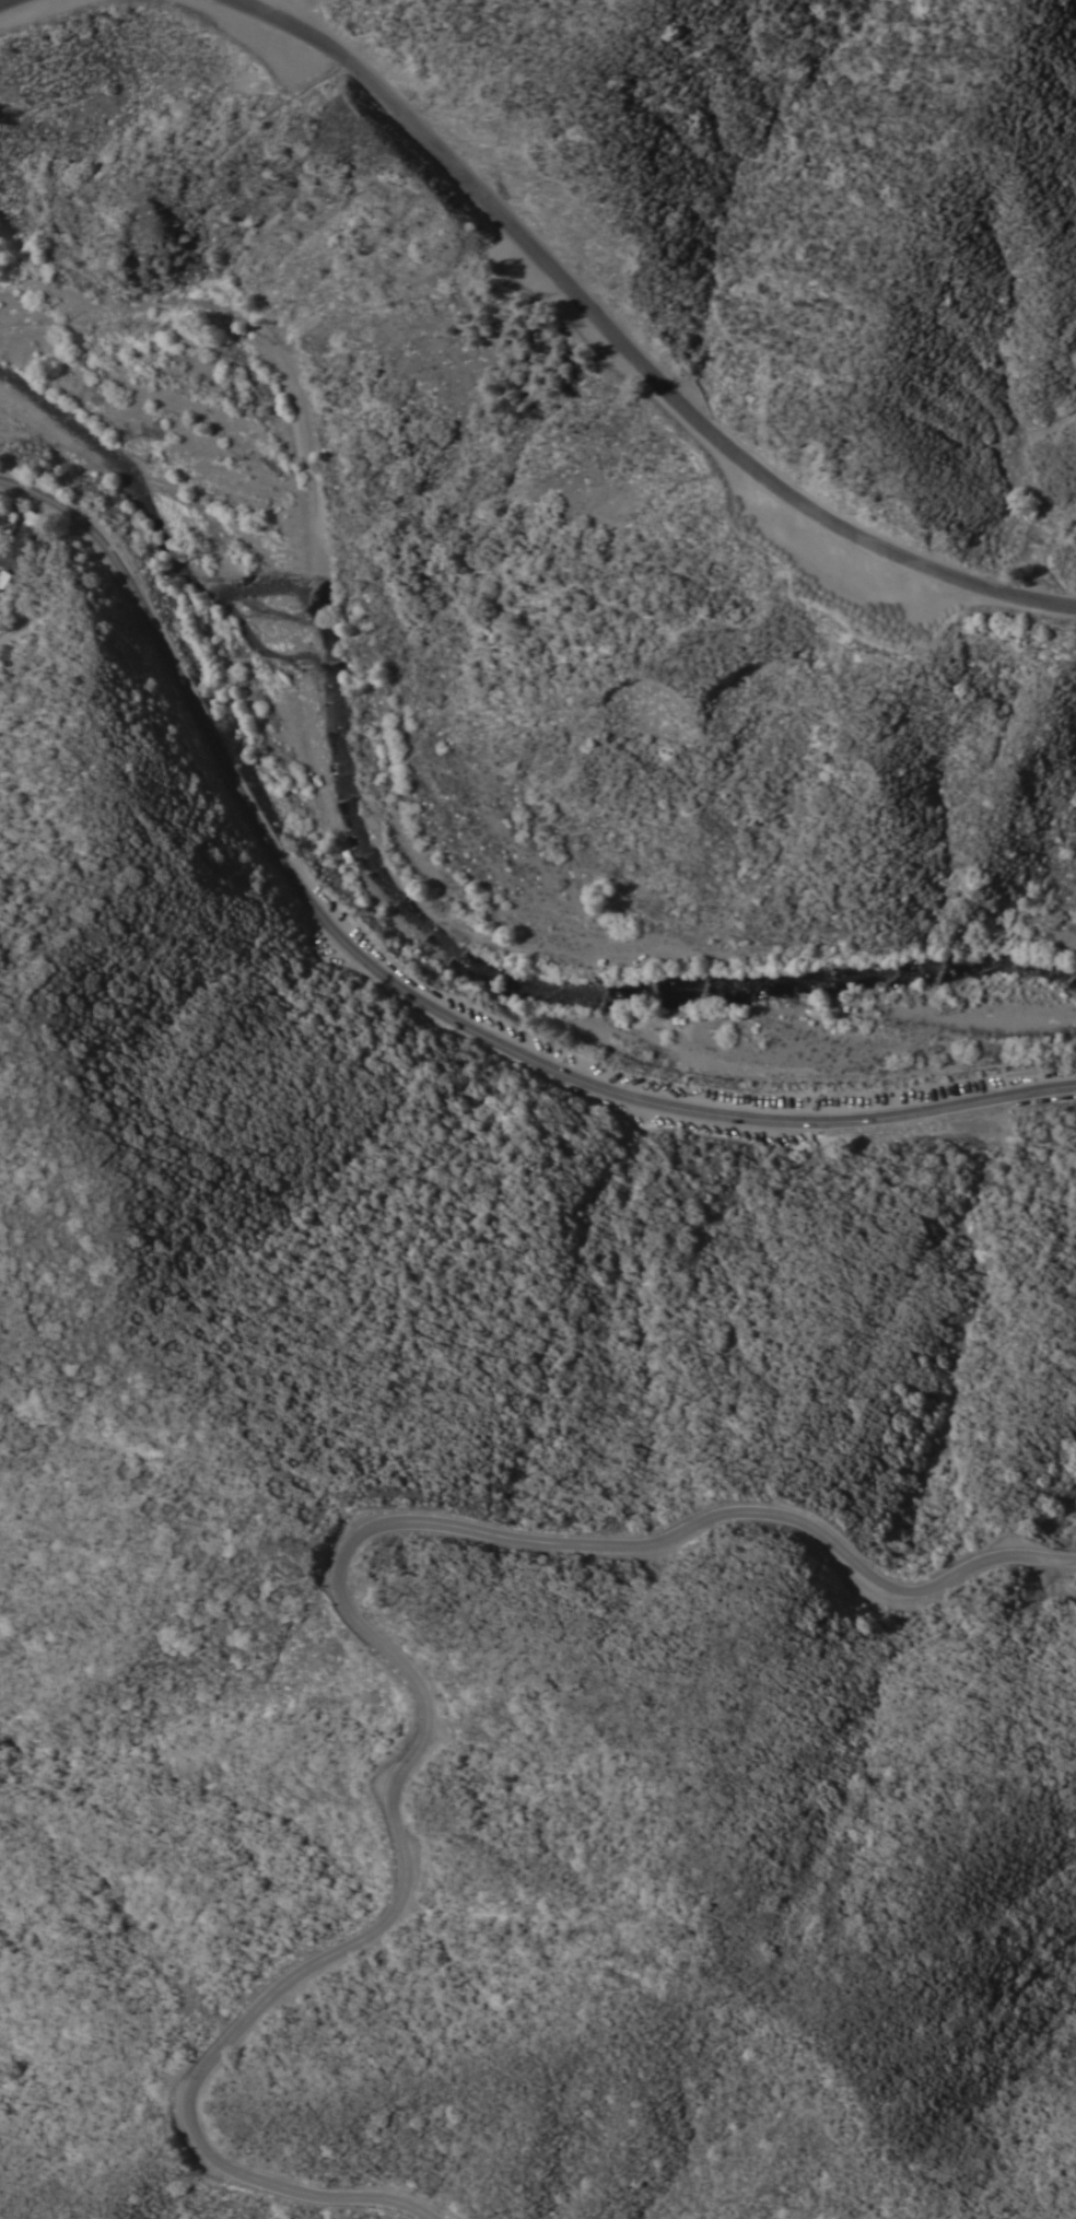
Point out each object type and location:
road: (9, 3)
road: (625, 348)
building: (8, 521)
building: (28, 527)
road: (3, 561)
building: (3, 576)
building: (4, 651)
road: (238, 795)
river: (402, 918)
road: (803, 1122)
road: (382, 1644)

